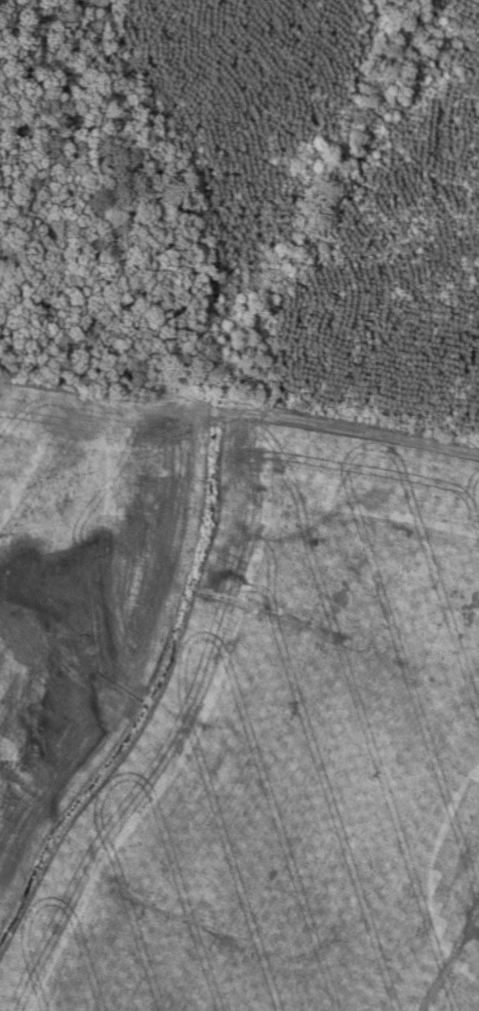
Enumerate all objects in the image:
crop: (235, 709)

